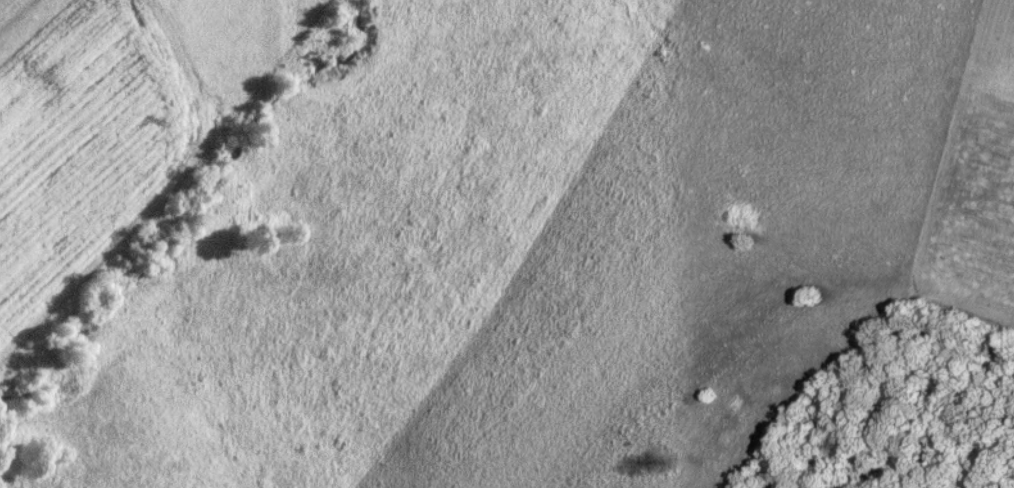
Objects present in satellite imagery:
road: (851, 351)

